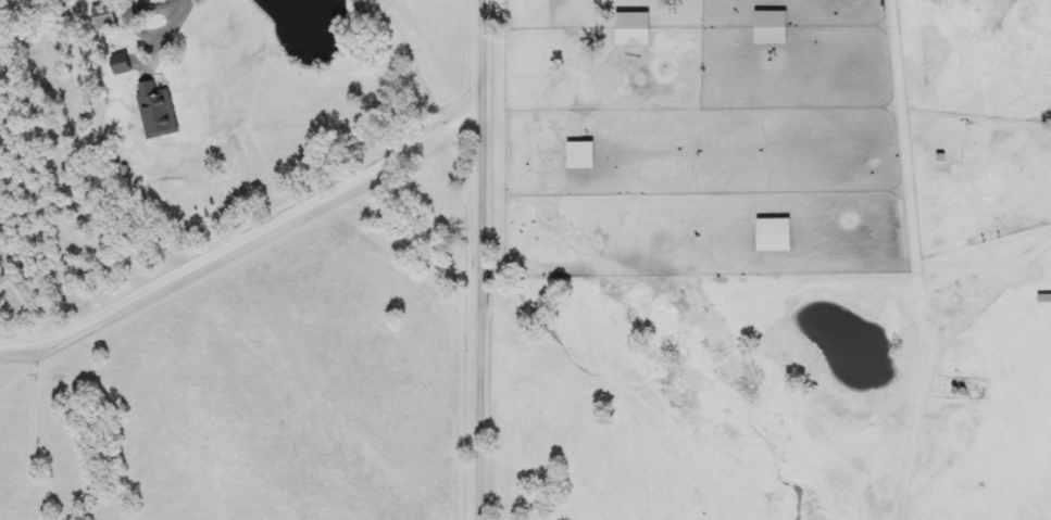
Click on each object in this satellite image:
road: (170, 29)
building: (157, 110)
building: (579, 154)
road: (246, 243)
road: (483, 259)
road: (924, 347)

